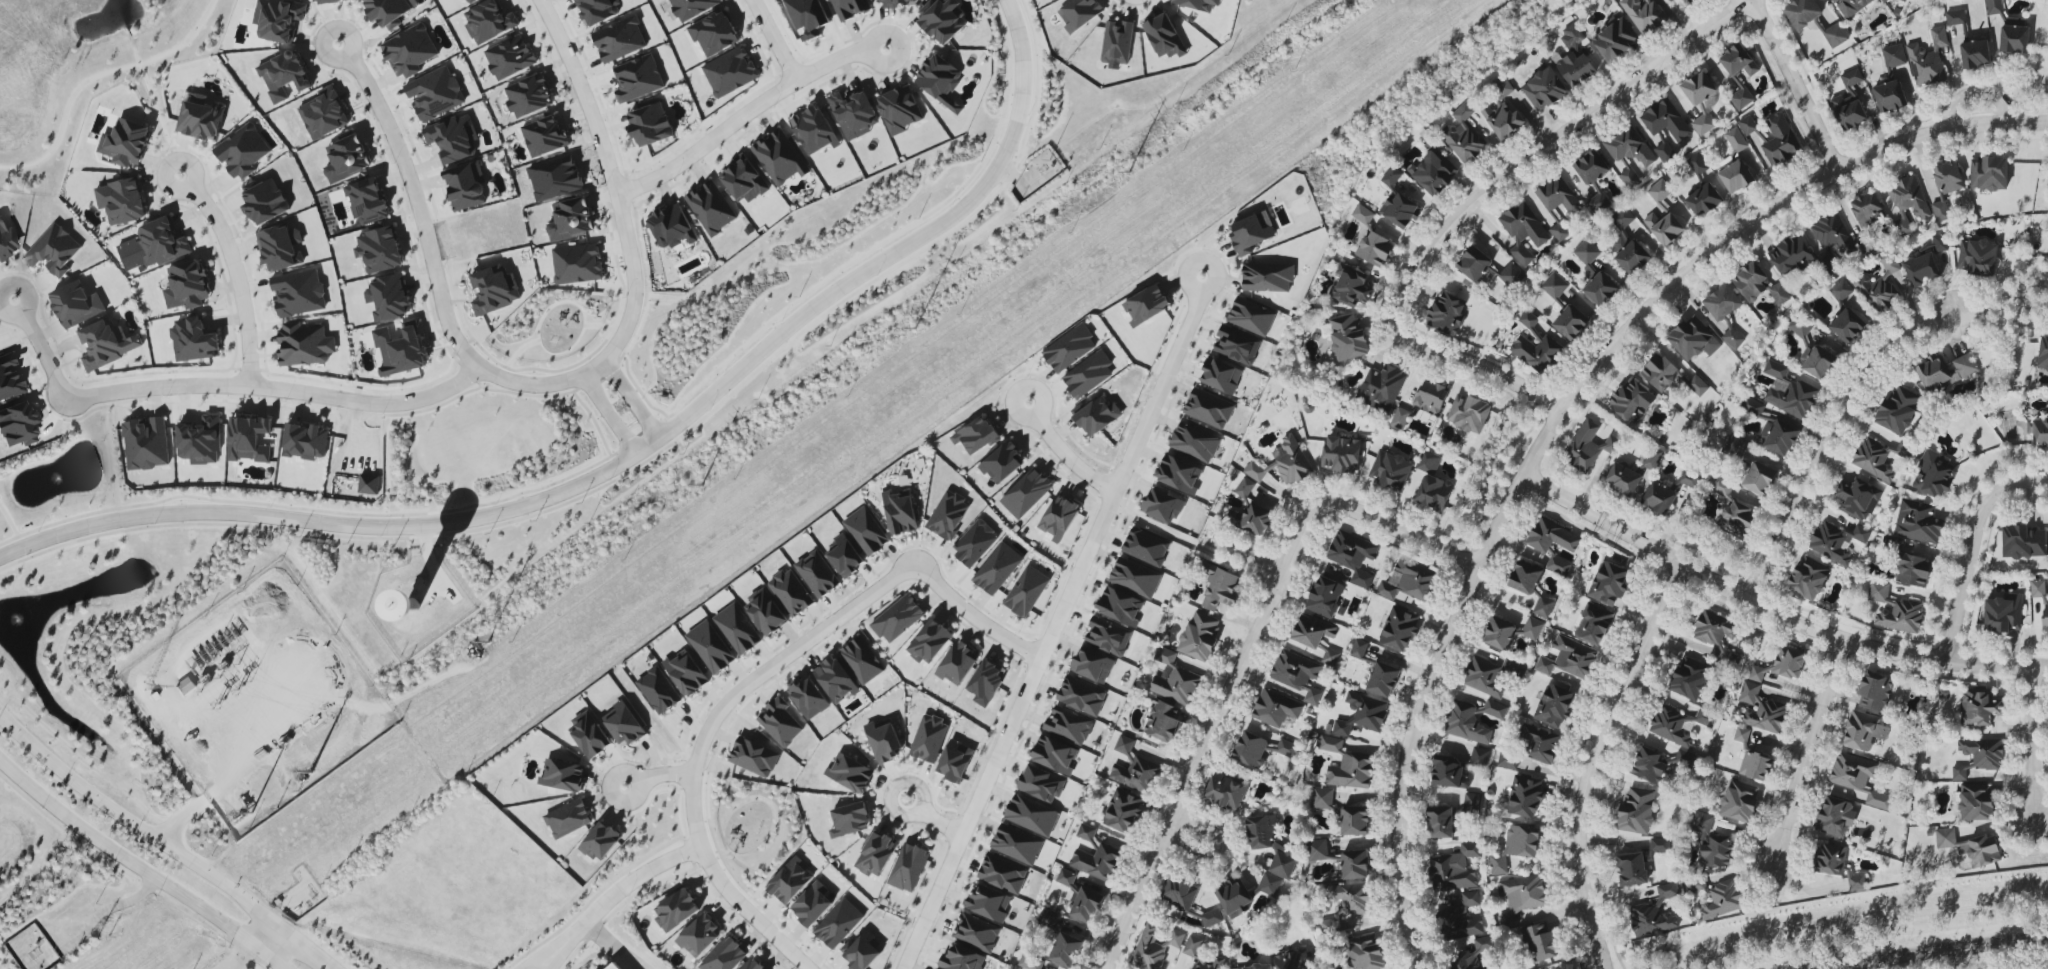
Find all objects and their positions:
building: (1050, 0)
building: (327, 1)
building: (471, 1)
building: (1884, 1)
building: (1687, 2)
building: (896, 3)
building: (1198, 4)
building: (1851, 6)
building: (1994, 7)
building: (691, 8)
building: (850, 8)
building: (597, 10)
building: (387, 11)
building: (1802, 12)
building: (1079, 13)
building: (1645, 15)
building: (807, 17)
building: (1956, 17)
building: (279, 19)
building: (942, 20)
building: (489, 21)
building: (714, 33)
building: (1836, 35)
building: (1164, 36)
building: (619, 39)
building: (1615, 39)
building: (2015, 39)
road: (773, 40)
building: (1117, 42)
building: (409, 51)
building: (1975, 53)
building: (1894, 56)
building: (509, 57)
building: (1574, 58)
building: (1928, 59)
building: (730, 71)
building: (284, 75)
road: (96, 76)
building: (1734, 76)
building: (638, 78)
building: (1852, 78)
building: (940, 80)
road: (1795, 83)
building: (1544, 89)
building: (435, 93)
road: (1976, 94)
building: (529, 96)
building: (1890, 96)
building: (1701, 100)
building: (900, 109)
building: (1849, 111)
road: (746, 112)
building: (1503, 112)
building: (324, 114)
building: (854, 114)
building: (200, 117)
road: (158, 119)
building: (1666, 120)
building: (650, 125)
building: (1748, 125)
building: (814, 130)
building: (1463, 135)
building: (545, 136)
building: (453, 138)
building: (1736, 139)
building: (1780, 140)
building: (126, 142)
building: (1629, 146)
building: (1663, 148)
building: (242, 151)
building: (780, 157)
building: (347, 159)
building: (1697, 164)
building: (1591, 167)
building: (1433, 172)
building: (1989, 173)
building: (1736, 176)
building: (1391, 177)
building: (1948, 177)
building: (744, 181)
road: (612, 185)
building: (466, 186)
building: (1659, 191)
building: (1704, 199)
building: (121, 201)
building: (264, 201)
building: (367, 201)
road: (1474, 201)
building: (1907, 201)
building: (1597, 203)
building: (1558, 204)
building: (711, 208)
building: (1867, 209)
building: (1399, 210)
building: (1941, 211)
building: (1363, 214)
building: (571, 219)
building: (1664, 227)
building: (672, 228)
building: (1523, 231)
building: (1832, 234)
building: (6, 240)
road: (882, 242)
building: (1628, 244)
building: (153, 246)
building: (281, 248)
building: (1375, 249)
building: (379, 250)
building: (54, 251)
building: (1587, 256)
building: (1791, 256)
building: (1977, 257)
road: (431, 260)
building: (1925, 262)
building: (1474, 263)
building: (578, 264)
road: (617, 264)
road: (234, 272)
building: (1511, 275)
building: (1267, 277)
building: (1758, 284)
building: (1555, 285)
building: (187, 286)
building: (1880, 287)
building: (1352, 288)
building: (1601, 289)
building: (494, 290)
building: (1841, 290)
building: (298, 293)
building: (388, 297)
building: (1722, 302)
building: (76, 304)
building: (1146, 305)
road: (2001, 307)
building: (1447, 313)
building: (1251, 316)
building: (1571, 322)
park: (551, 325)
road: (597, 325)
building: (1848, 325)
building: (1800, 326)
building: (1348, 337)
building: (1734, 338)
building: (1693, 339)
building: (194, 341)
building: (108, 343)
building: (305, 344)
road: (467, 344)
building: (1236, 345)
road: (38, 346)
building: (1536, 347)
building: (1069, 348)
road: (520, 349)
building: (400, 351)
building: (2043, 354)
building: (1820, 362)
road: (577, 363)
building: (1965, 365)
building: (1660, 372)
building: (1933, 373)
building: (1088, 374)
building: (1221, 375)
building: (9, 378)
building: (1698, 385)
building: (1381, 387)
road: (275, 389)
building: (1788, 391)
road: (525, 394)
building: (1431, 397)
road: (630, 398)
building: (1632, 401)
building: (1752, 406)
building: (1208, 408)
building: (1898, 409)
building: (1469, 413)
road: (1559, 413)
road: (606, 414)
building: (1098, 416)
building: (1400, 418)
road: (594, 421)
building: (16, 425)
building: (2038, 431)
building: (1777, 434)
building: (976, 435)
road: (1829, 436)
building: (249, 439)
building: (200, 441)
building: (306, 442)
building: (1194, 442)
building: (146, 443)
building: (1589, 446)
building: (1735, 447)
road: (109, 449)
road: (1063, 450)
building: (1341, 454)
road: (626, 458)
building: (1652, 459)
building: (1873, 459)
building: (1283, 462)
building: (1429, 462)
building: (1002, 463)
building: (1390, 470)
park: (1490, 473)
building: (1179, 474)
building: (1933, 474)
building: (1688, 478)
building: (1623, 479)
building: (1759, 479)
building: (369, 484)
building: (1245, 487)
building: (1026, 493)
building: (1433, 493)
building: (1659, 498)
building: (1858, 499)
building: (1163, 505)
road: (316, 509)
building: (900, 512)
building: (948, 515)
building: (1059, 517)
building: (1737, 518)
building: (1918, 521)
road: (8, 522)
road: (1156, 525)
building: (866, 531)
building: (1552, 537)
building: (1837, 541)
building: (2024, 541)
building: (974, 543)
park: (1713, 543)
building: (1146, 546)
road: (1969, 548)
road: (1243, 552)
building: (1353, 555)
building: (844, 556)
building: (1559, 566)
building: (997, 568)
building: (1914, 570)
building: (817, 574)
building: (1135, 577)
building: (1525, 578)
building: (1809, 578)
building: (1408, 582)
building: (1609, 582)
building: (1220, 588)
building: (2037, 588)
building: (1026, 591)
building: (791, 592)
building: (1325, 597)
building: (1120, 606)
building: (1544, 606)
building: (1895, 609)
building: (765, 612)
road: (1772, 612)
building: (2003, 613)
building: (2045, 616)
road: (973, 617)
building: (898, 619)
road: (1054, 622)
building: (1594, 624)
building: (1532, 628)
building: (737, 629)
building: (1399, 629)
building: (1312, 631)
building: (1499, 633)
building: (1716, 633)
building: (1107, 636)
building: (1200, 636)
building: (930, 642)
building: (711, 647)
building: (1359, 649)
building: (1330, 656)
road: (1244, 657)
building: (1569, 658)
building: (862, 660)
building: (957, 663)
building: (1093, 665)
building: (1782, 665)
building: (686, 673)
building: (1298, 674)
road: (758, 676)
building: (1483, 677)
building: (1690, 678)
building: (1383, 679)
building: (835, 680)
building: (1175, 680)
building: (986, 682)
building: (185, 687)
power tower: (240, 687)
building: (658, 690)
building: (1874, 691)
building: (1081, 695)
building: (808, 698)
power substation: (257, 699)
power tower: (221, 701)
building: (1554, 705)
building: (1275, 708)
building: (1980, 708)
building: (1761, 710)
building: (1362, 714)
building: (1473, 720)
building: (1163, 721)
building: (780, 722)
building: (623, 724)
building: (1678, 724)
building: (1068, 725)
building: (1863, 731)
building: (589, 735)
building: (929, 738)
building: (884, 741)
building: (1537, 744)
road: (2032, 744)
building: (1260, 749)
road: (1808, 750)
building: (1983, 752)
building: (1054, 754)
building: (754, 757)
building: (1480, 757)
building: (955, 760)
road: (1593, 760)
building: (1508, 761)
building: (1657, 764)
building: (1348, 765)
building: (1134, 768)
building: (1449, 772)
road: (659, 773)
building: (850, 773)
building: (1959, 773)
building: (563, 775)
building: (1859, 778)
building: (1041, 784)
building: (1226, 790)
building: (1525, 797)
building: (1322, 798)
building: (1472, 801)
building: (1740, 801)
building: (1976, 802)
building: (1637, 810)
building: (1123, 811)
building: (1031, 815)
building: (1834, 816)
road: (178, 818)
building: (568, 818)
road: (931, 818)
building: (850, 820)
building: (1355, 821)
building: (1440, 823)
building: (1086, 832)
building: (600, 841)
building: (1712, 842)
building: (1017, 844)
building: (1271, 844)
road: (164, 845)
building: (1660, 845)
building: (1971, 846)
building: (1516, 847)
road: (1218, 850)
building: (1317, 850)
building: (876, 854)
building: (1097, 861)
building: (1355, 864)
building: (1837, 864)
building: (908, 867)
road: (140, 868)
building: (1455, 869)
building: (1632, 869)
building: (1002, 873)
building: (1066, 878)
building: (790, 881)
building: (1270, 885)
building: (1699, 888)
road: (615, 891)
building: (1668, 891)
building: (1179, 893)
building: (1234, 898)
building: (1723, 900)
building: (988, 902)
building: (1347, 903)
building: (813, 904)
building: (1087, 904)
building: (676, 910)
road: (749, 912)
building: (1452, 915)
building: (1211, 918)
building: (1651, 919)
road: (92, 920)
building: (839, 923)
road: (260, 930)
building: (976, 932)
building: (700, 936)
building: (1539, 941)
road: (613, 943)
building: (1154, 947)
building: (1066, 948)
building: (862, 951)
building: (1365, 952)
building: (1201, 954)
building: (724, 955)
building: (1475, 955)
road: (1942, 955)
road: (239, 956)
building: (961, 959)
building: (1293, 960)
building: (1030, 962)
road: (536, 964)
road: (544, 964)
building: (752, 964)
building: (609, 965)
building: (1254, 967)
park: (1433, 968)

